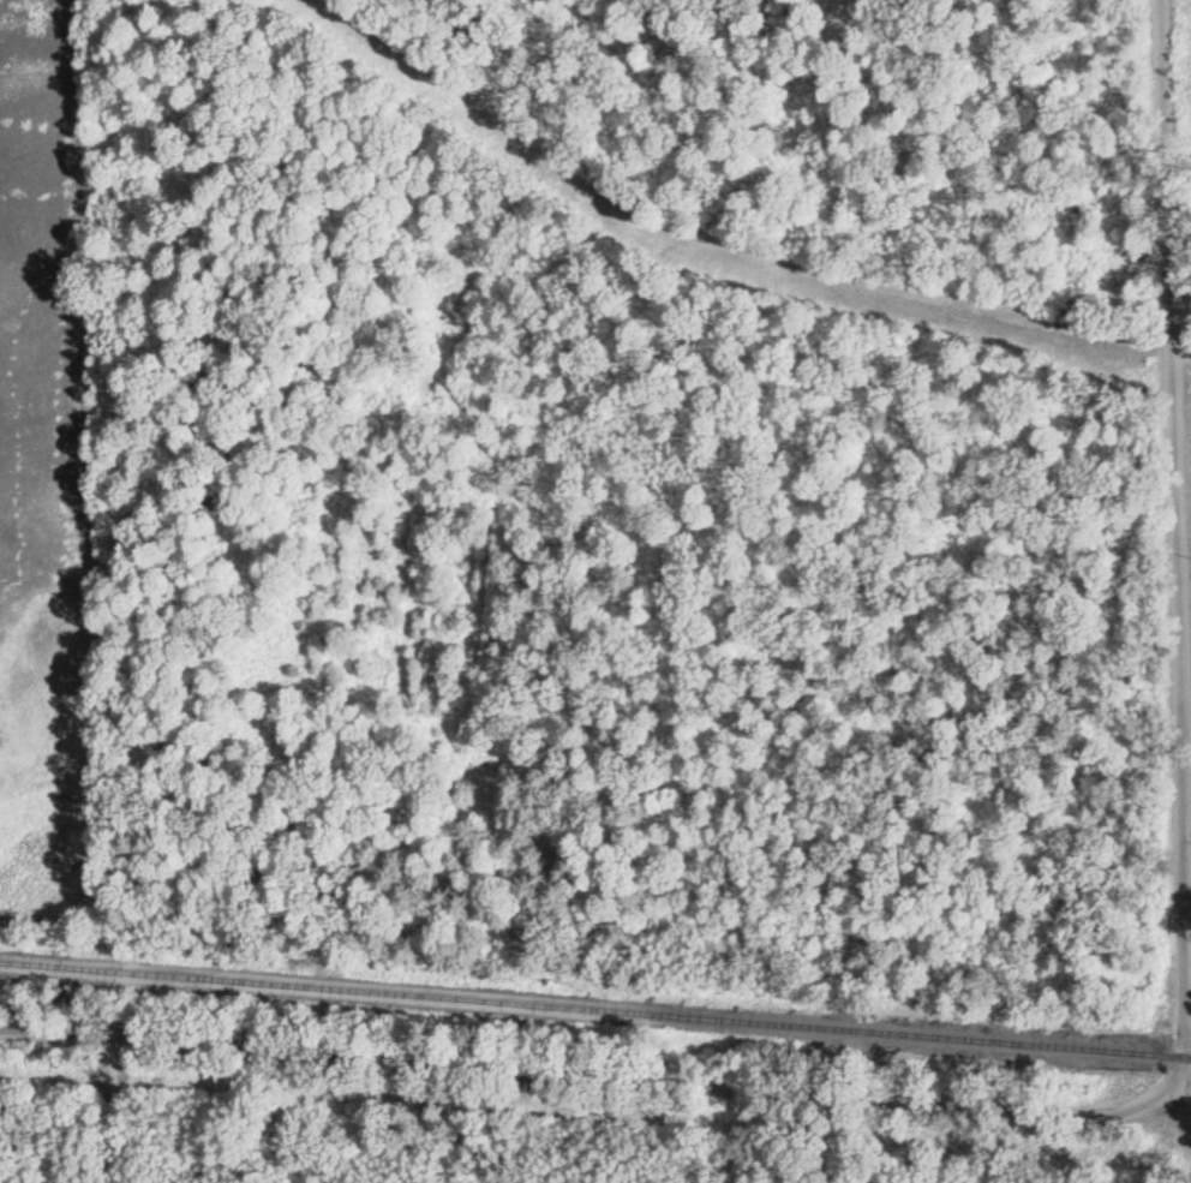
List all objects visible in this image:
road: (1174, 443)
road: (1187, 886)
road: (1185, 994)
railway: (595, 1010)
road: (582, 1075)
road: (77, 1109)
road: (1177, 1110)

